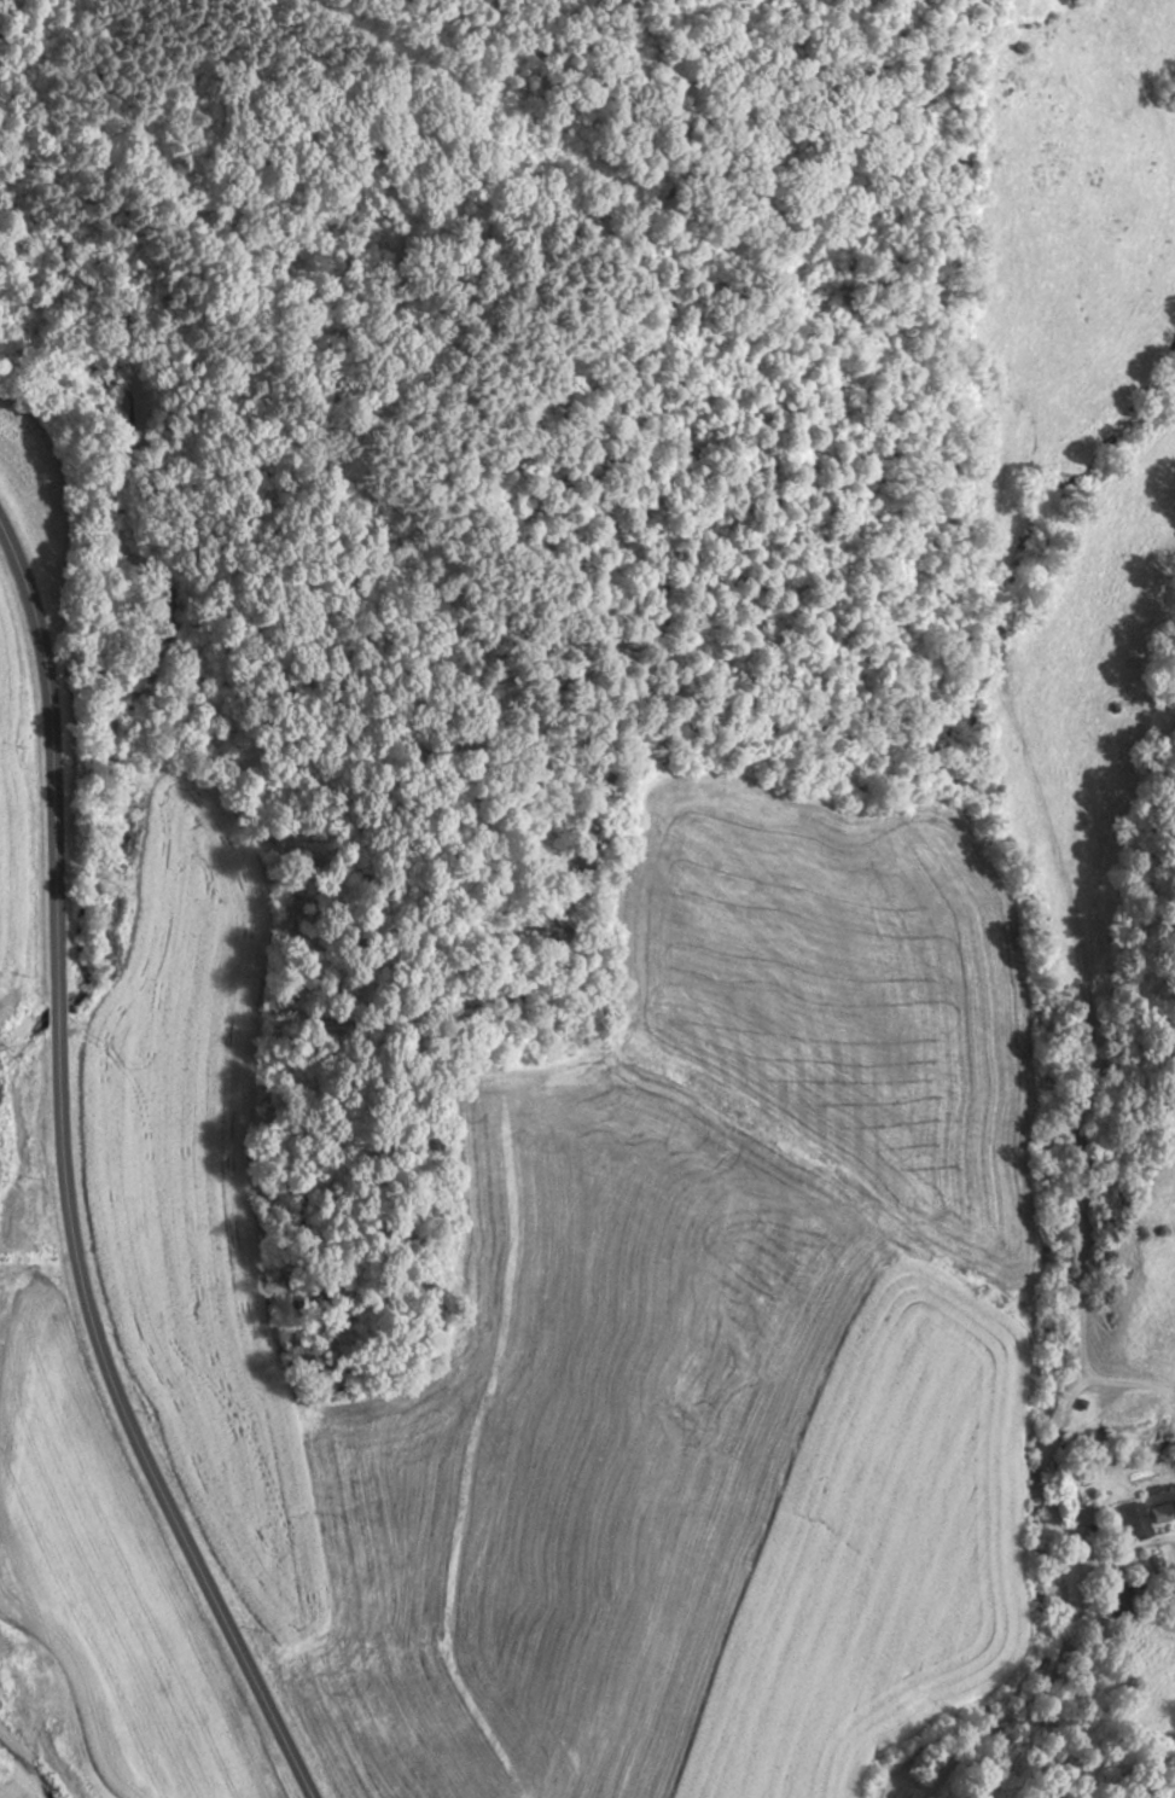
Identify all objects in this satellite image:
park: (522, 345)
road: (71, 1179)
building: (1163, 1512)
building: (1086, 1515)
building: (1136, 1521)
road: (1047, 1653)

